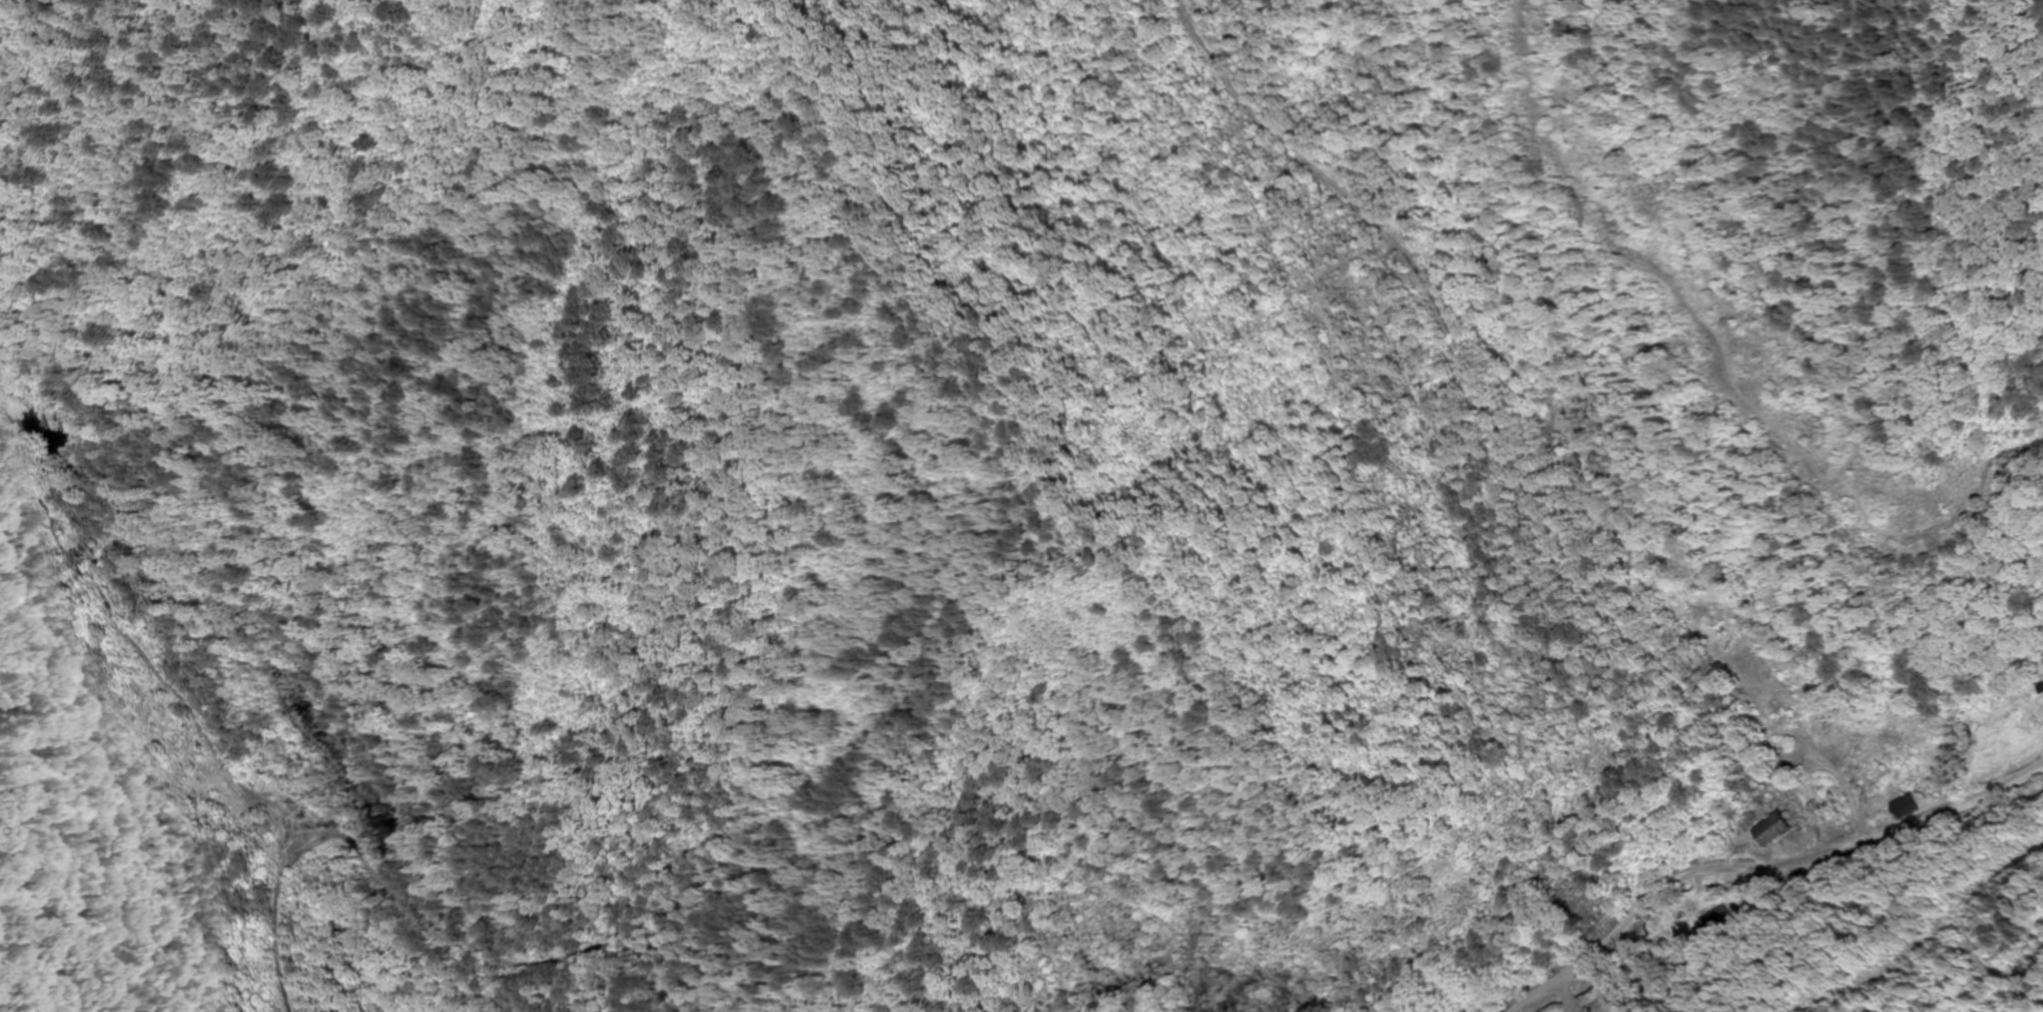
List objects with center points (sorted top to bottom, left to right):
building: (2038, 685)
building: (1903, 807)
building: (1771, 831)
road: (1758, 867)
building: (1719, 925)

